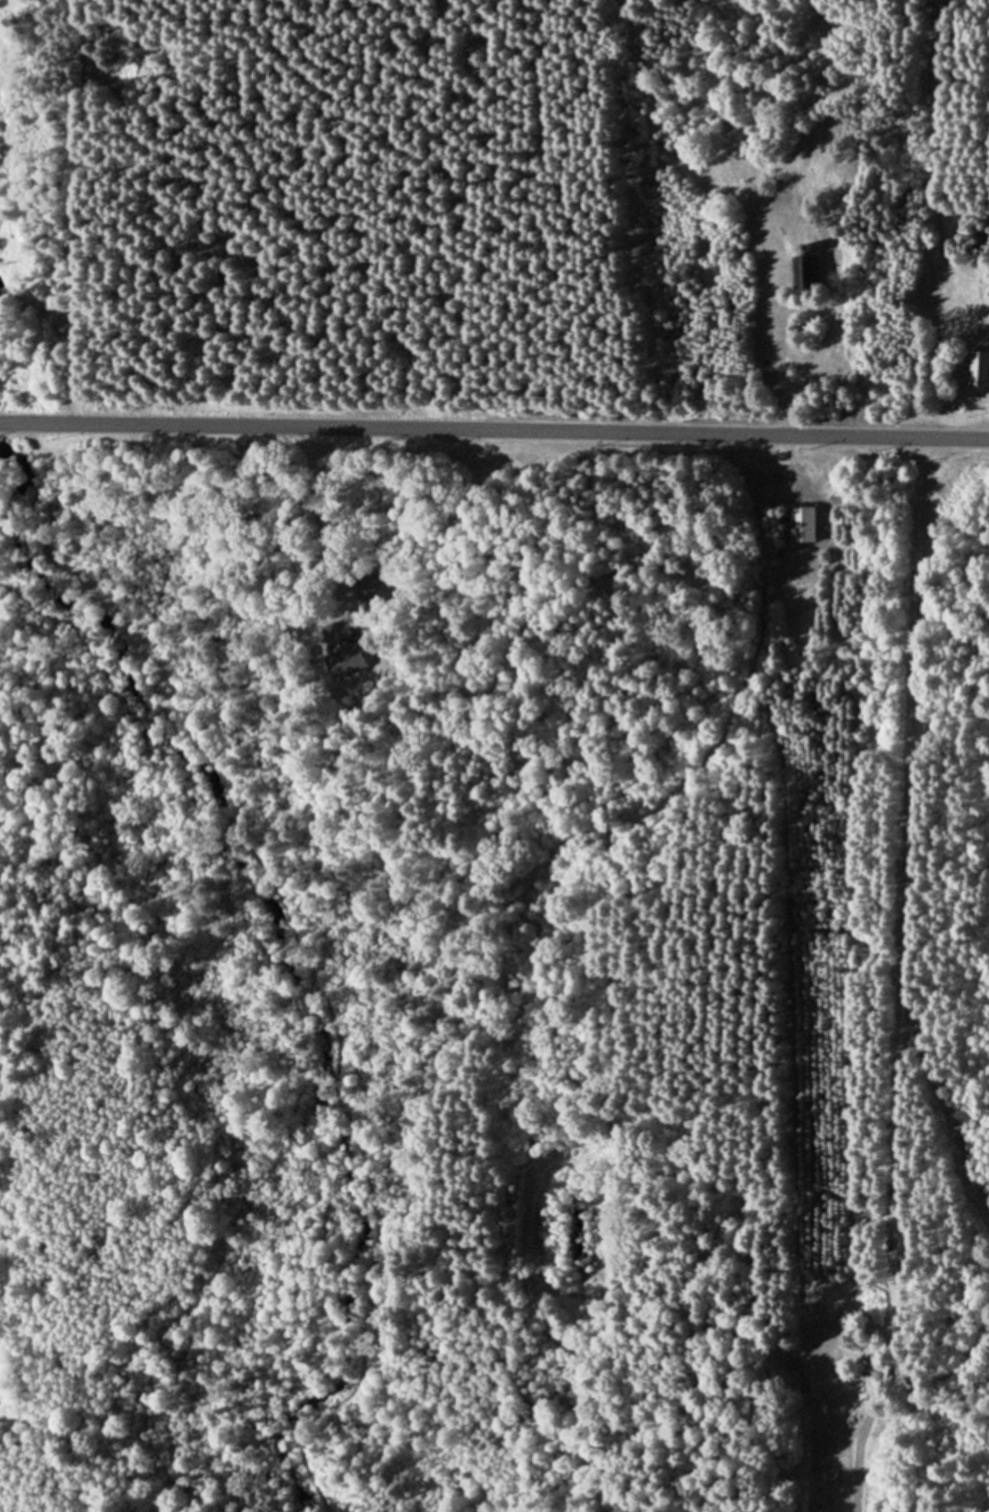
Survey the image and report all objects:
road: (494, 430)
road: (763, 476)
building: (796, 524)
road: (757, 529)
road: (902, 824)
building: (867, 1212)
road: (902, 1251)

